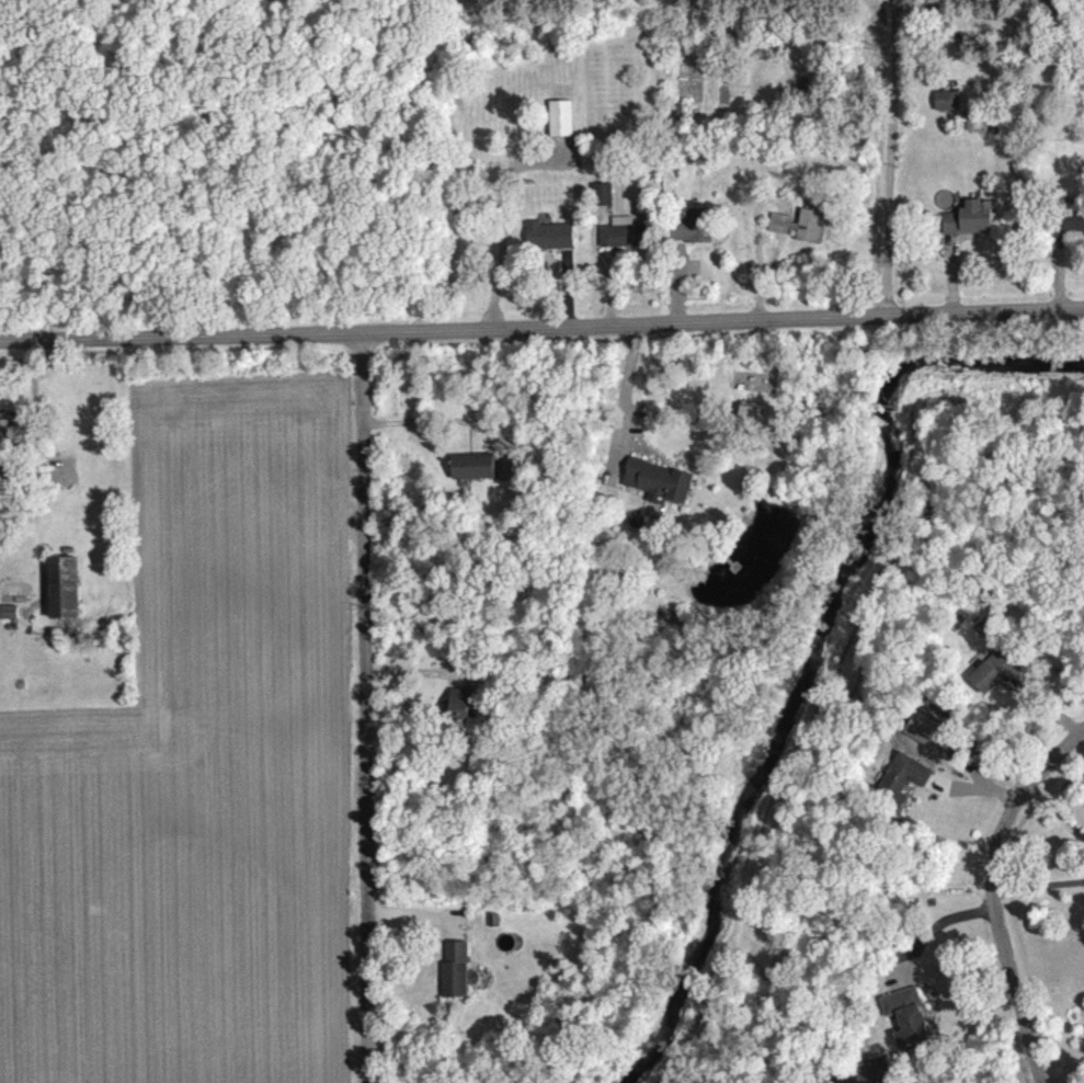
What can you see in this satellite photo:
building: (947, 113)
building: (560, 130)
road: (890, 161)
building: (602, 206)
building: (969, 230)
building: (1072, 235)
building: (800, 238)
building: (693, 240)
building: (623, 246)
building: (549, 248)
road: (541, 334)
road: (623, 399)
road: (447, 417)
building: (755, 428)
building: (5, 448)
building: (473, 479)
building: (659, 494)
building: (64, 600)
building: (992, 684)
road: (372, 711)
building: (459, 719)
building: (903, 790)
road: (991, 891)
road: (1038, 899)
building: (456, 982)
building: (906, 1029)

